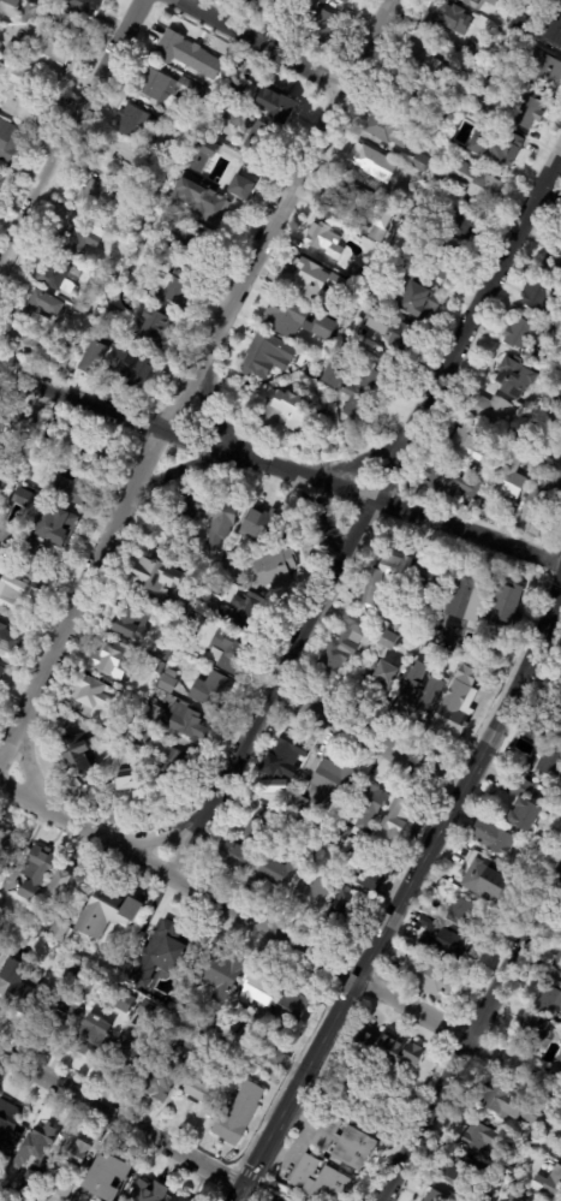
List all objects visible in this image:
building: (8, 1)
building: (345, 1)
building: (559, 1)
building: (477, 2)
building: (255, 4)
building: (76, 6)
building: (490, 6)
building: (28, 11)
building: (449, 16)
building: (42, 22)
building: (518, 24)
building: (324, 28)
building: (554, 29)
road: (267, 43)
building: (475, 50)
building: (191, 57)
building: (47, 58)
building: (497, 60)
building: (425, 61)
building: (538, 65)
building: (166, 88)
building: (404, 91)
building: (22, 99)
building: (478, 99)
building: (275, 106)
building: (524, 108)
building: (133, 120)
building: (173, 123)
building: (435, 123)
building: (387, 129)
building: (250, 130)
road: (72, 132)
building: (10, 138)
building: (495, 145)
building: (201, 148)
building: (115, 157)
building: (414, 161)
building: (372, 163)
building: (233, 173)
building: (0, 180)
building: (436, 182)
building: (0, 184)
building: (476, 184)
building: (150, 194)
building: (92, 195)
building: (399, 197)
building: (340, 198)
road: (549, 200)
building: (133, 201)
building: (204, 202)
building: (416, 214)
building: (461, 226)
building: (376, 234)
building: (78, 237)
building: (323, 239)
building: (183, 248)
building: (377, 251)
building: (396, 257)
building: (551, 258)
building: (443, 263)
building: (300, 272)
building: (54, 273)
building: (358, 273)
building: (112, 274)
building: (169, 287)
building: (375, 293)
building: (538, 296)
building: (418, 301)
building: (37, 307)
building: (340, 311)
building: (113, 316)
building: (281, 316)
building: (354, 326)
building: (323, 327)
building: (155, 328)
building: (394, 331)
building: (131, 332)
building: (520, 334)
building: (554, 334)
building: (20, 344)
building: (264, 353)
building: (61, 359)
building: (130, 368)
building: (559, 368)
building: (334, 369)
road: (189, 375)
building: (514, 377)
building: (271, 386)
building: (557, 396)
building: (364, 397)
building: (487, 409)
road: (209, 410)
building: (292, 414)
building: (17, 423)
building: (47, 432)
building: (469, 442)
building: (90, 447)
building: (1, 458)
road: (353, 465)
road: (178, 466)
road: (281, 470)
building: (485, 471)
building: (511, 472)
building: (452, 483)
building: (0, 487)
building: (73, 490)
building: (545, 492)
building: (22, 498)
road: (365, 513)
building: (210, 515)
building: (55, 528)
building: (256, 528)
road: (323, 528)
building: (26, 553)
building: (384, 567)
building: (261, 570)
building: (156, 575)
building: (429, 579)
building: (216, 589)
building: (13, 591)
building: (466, 595)
building: (506, 606)
building: (184, 607)
building: (387, 607)
building: (245, 613)
building: (405, 620)
building: (130, 623)
building: (377, 626)
building: (387, 638)
building: (8, 642)
building: (344, 643)
building: (465, 649)
building: (162, 652)
building: (484, 653)
building: (227, 654)
building: (423, 659)
building: (108, 660)
building: (1, 672)
building: (478, 677)
building: (380, 679)
building: (166, 682)
building: (210, 692)
building: (89, 694)
building: (417, 700)
building: (530, 714)
building: (153, 717)
building: (185, 723)
building: (121, 727)
building: (449, 729)
building: (142, 735)
building: (537, 735)
building: (560, 736)
road: (370, 739)
building: (78, 745)
building: (284, 759)
building: (550, 762)
road: (25, 767)
building: (173, 767)
building: (328, 785)
building: (126, 786)
building: (270, 787)
building: (520, 803)
building: (293, 807)
building: (369, 808)
building: (395, 821)
building: (341, 836)
building: (493, 838)
road: (163, 839)
building: (243, 844)
building: (5, 846)
building: (462, 855)
building: (383, 858)
building: (34, 873)
building: (274, 873)
building: (485, 878)
road: (407, 886)
building: (444, 887)
building: (60, 893)
building: (345, 893)
building: (310, 894)
building: (460, 915)
building: (106, 916)
building: (56, 932)
building: (423, 932)
road: (281, 935)
building: (179, 945)
building: (447, 946)
building: (22, 952)
building: (113, 959)
building: (556, 963)
building: (220, 973)
building: (70, 974)
building: (426, 977)
building: (144, 985)
building: (259, 991)
building: (19, 993)
building: (124, 1001)
building: (548, 1001)
building: (187, 1006)
building: (145, 1010)
building: (214, 1012)
building: (290, 1012)
building: (59, 1017)
building: (226, 1028)
building: (533, 1031)
road: (470, 1038)
building: (91, 1039)
building: (386, 1051)
building: (560, 1051)
building: (132, 1058)
building: (273, 1058)
building: (559, 1058)
building: (235, 1060)
building: (251, 1069)
building: (165, 1076)
building: (204, 1083)
building: (358, 1094)
building: (507, 1106)
building: (238, 1116)
road: (123, 1117)
building: (7, 1120)
building: (557, 1135)
building: (484, 1141)
building: (35, 1142)
building: (559, 1142)
building: (70, 1153)
building: (332, 1163)
building: (500, 1167)
building: (465, 1172)
building: (109, 1176)
building: (29, 1179)
building: (517, 1182)
building: (549, 1184)
building: (60, 1188)
building: (145, 1191)
road: (241, 1193)
road: (261, 1193)
building: (185, 1196)
building: (435, 1196)
building: (485, 1197)
building: (517, 1197)

